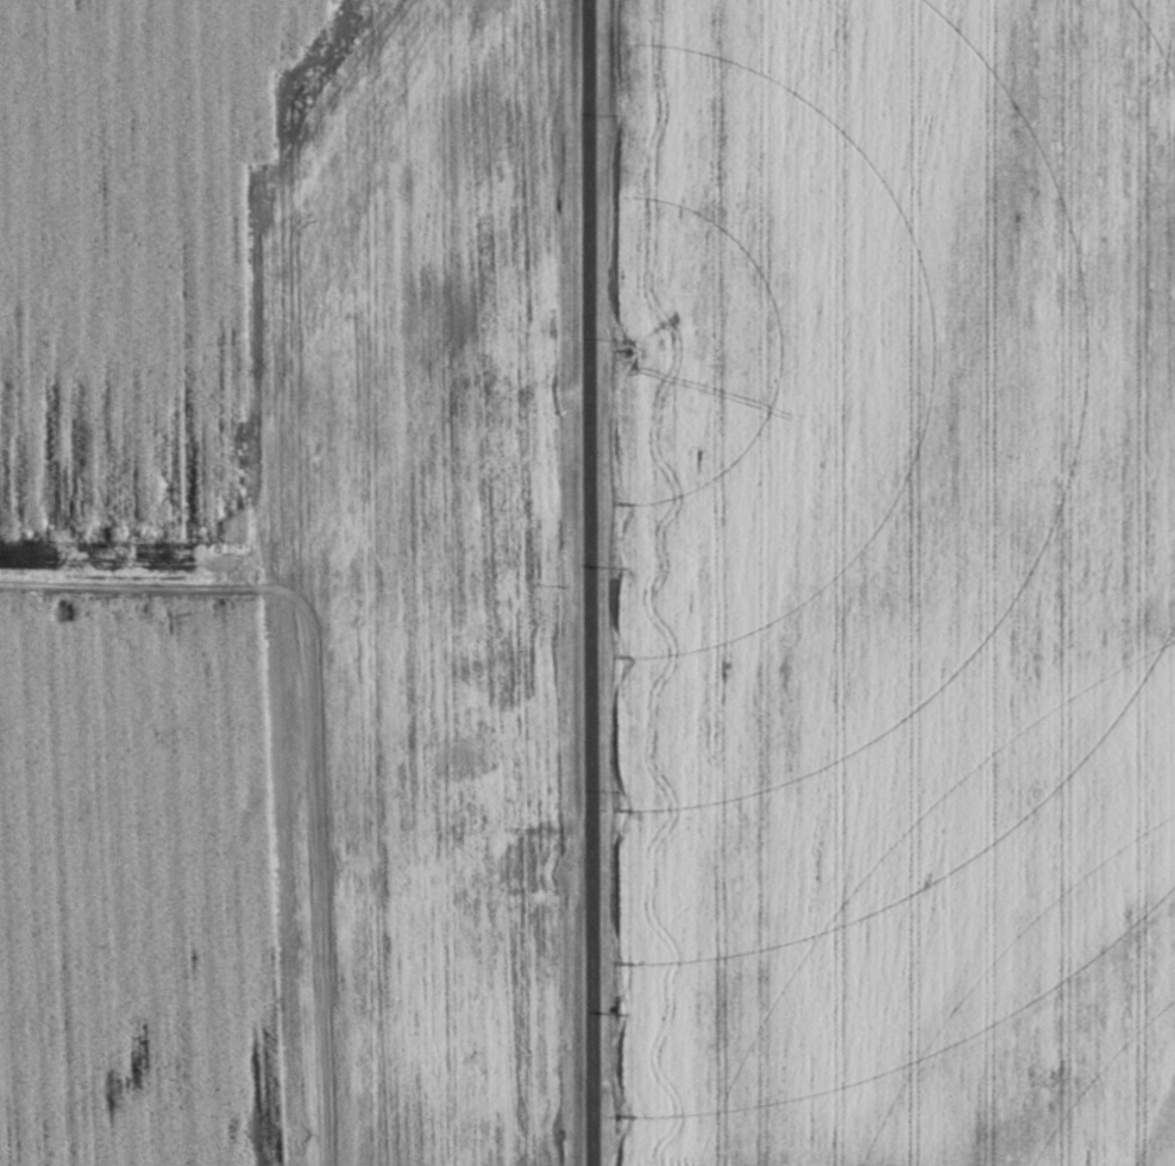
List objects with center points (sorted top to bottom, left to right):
road: (593, 583)

